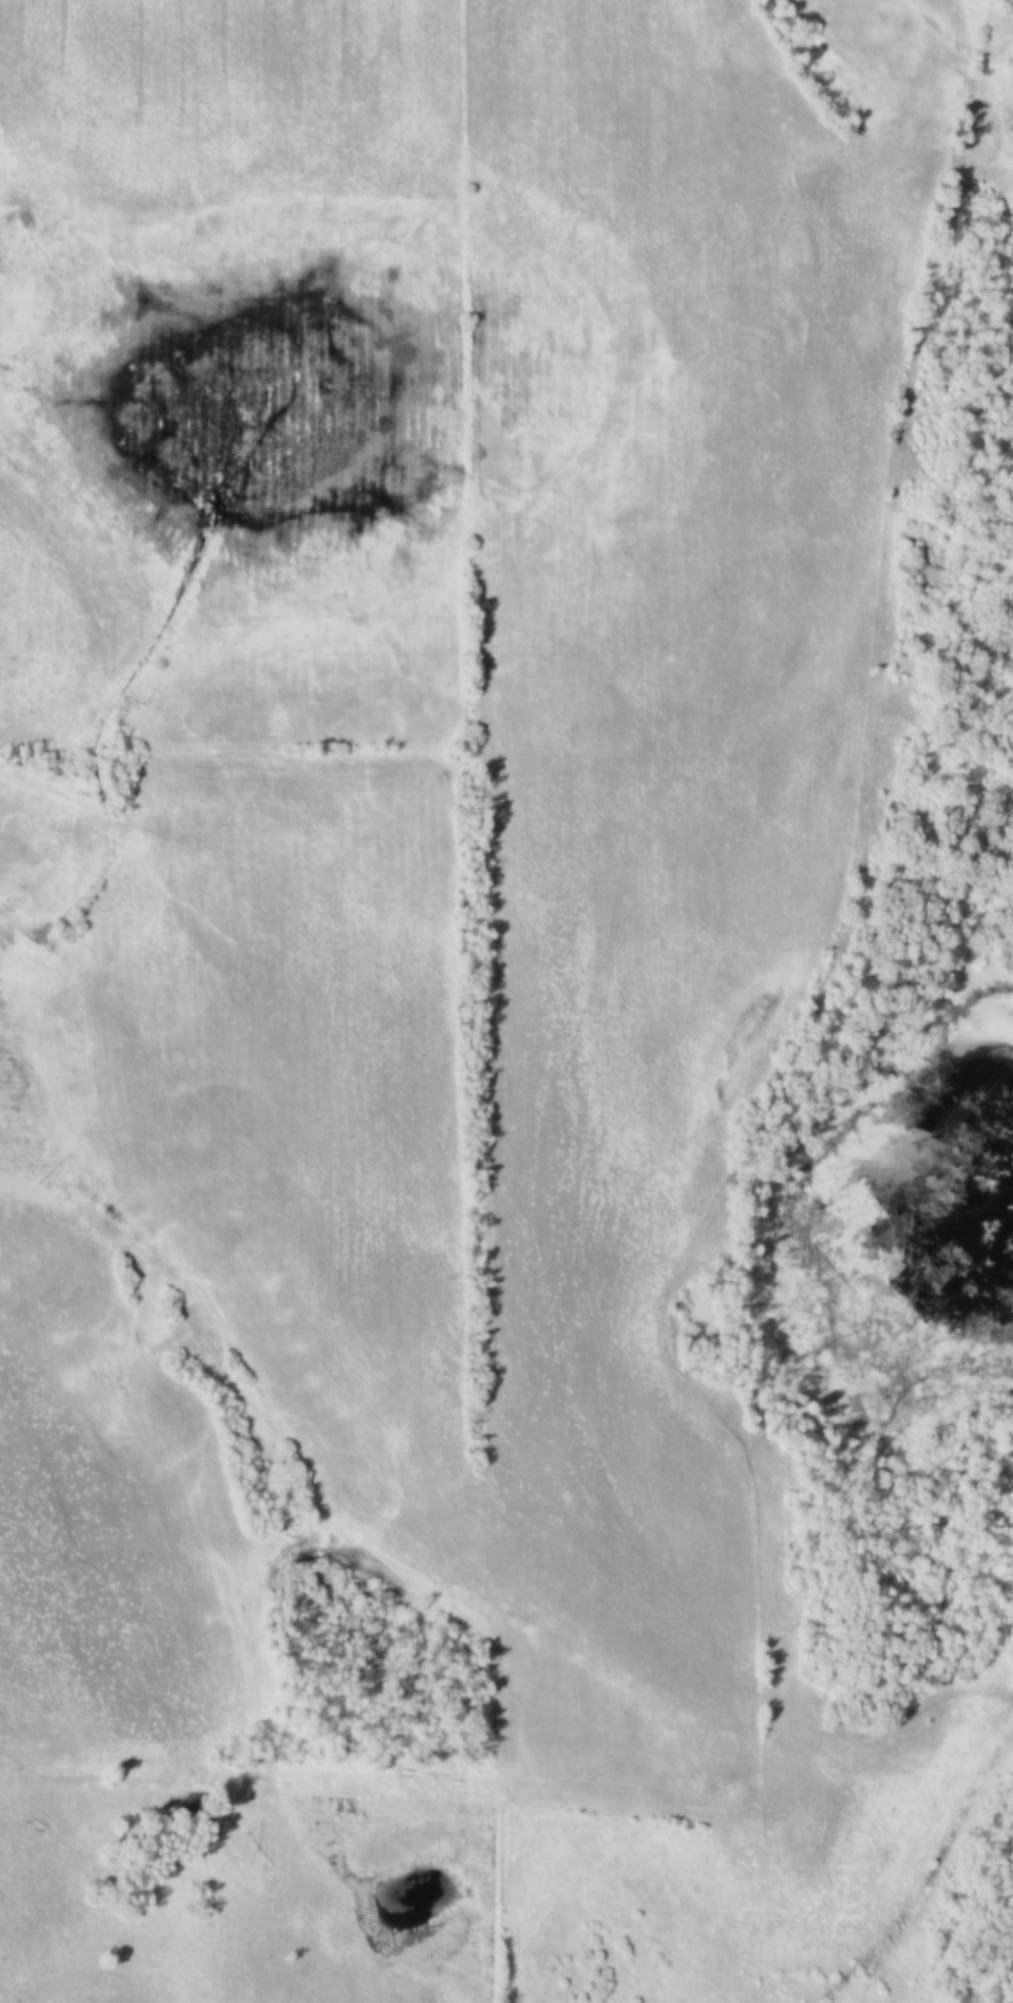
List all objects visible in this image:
road: (885, 1721)

